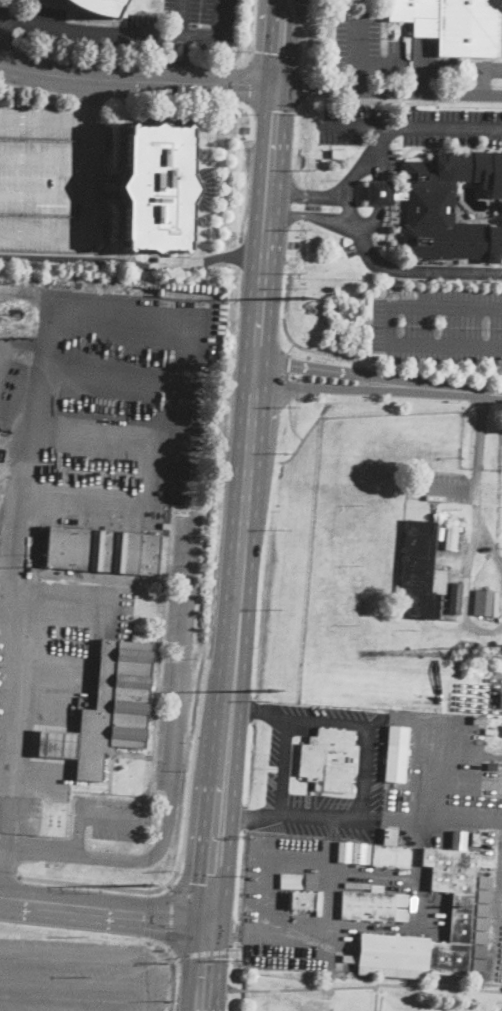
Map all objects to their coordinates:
building: (99, 7)
parking lot: (10, 13)
road: (11, 13)
road: (184, 18)
building: (453, 24)
parking lot: (137, 27)
road: (95, 33)
road: (4, 35)
road: (219, 35)
road: (277, 44)
road: (8, 46)
road: (360, 57)
road: (91, 59)
road: (182, 60)
road: (181, 62)
road: (221, 63)
road: (273, 65)
road: (361, 78)
road: (135, 80)
road: (243, 84)
traffic signals: (273, 90)
road: (300, 90)
road: (38, 93)
road: (387, 93)
road: (92, 97)
road: (90, 99)
road: (191, 101)
road: (272, 110)
road: (414, 123)
building: (338, 152)
road: (45, 156)
road: (89, 174)
building: (49, 177)
parking garage: (49, 177)
building: (447, 183)
building: (109, 186)
building: (157, 187)
building: (383, 193)
road: (306, 194)
road: (380, 195)
road: (44, 198)
building: (499, 207)
road: (308, 215)
road: (298, 218)
road: (292, 235)
building: (452, 241)
road: (367, 249)
road: (131, 264)
power tower: (302, 298)
building: (362, 299)
road: (388, 325)
parking lot: (438, 325)
road: (118, 369)
road: (325, 371)
road: (323, 389)
road: (450, 391)
road: (111, 425)
road: (481, 430)
road: (31, 440)
road: (458, 490)
road: (239, 505)
road: (477, 526)
building: (459, 529)
building: (451, 536)
building: (465, 539)
building: (103, 550)
building: (420, 570)
building: (455, 598)
building: (483, 603)
road: (185, 652)
building: (495, 675)
power tower: (270, 689)
building: (500, 701)
building: (106, 710)
road: (256, 712)
building: (479, 721)
building: (396, 755)
building: (312, 759)
road: (192, 760)
building: (493, 765)
road: (281, 815)
road: (108, 816)
road: (248, 823)
road: (74, 833)
building: (475, 839)
building: (490, 851)
building: (344, 852)
building: (383, 852)
road: (91, 855)
road: (8, 874)
building: (298, 881)
building: (484, 881)
road: (94, 884)
power tower: (143, 884)
road: (204, 886)
building: (377, 887)
road: (330, 894)
building: (483, 895)
building: (302, 900)
building: (368, 906)
building: (482, 909)
road: (104, 910)
building: (461, 912)
road: (170, 916)
traffic signals: (208, 922)
building: (481, 923)
building: (480, 936)
road: (171, 949)
road: (201, 952)
road: (101, 958)
road: (205, 966)
parking lot: (79, 975)
road: (75, 981)
road: (438, 987)
road: (314, 988)

